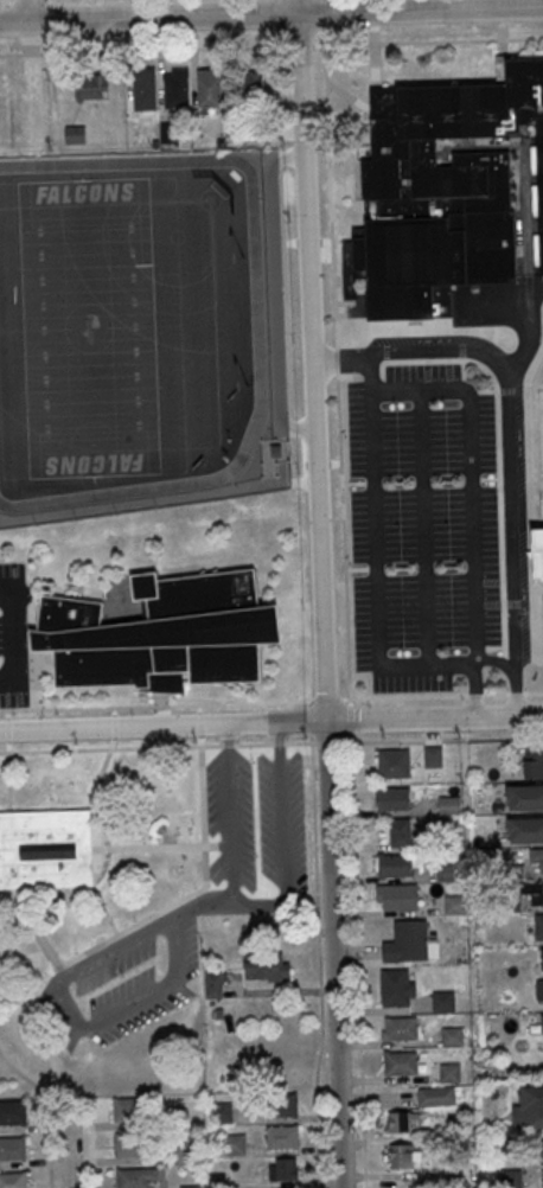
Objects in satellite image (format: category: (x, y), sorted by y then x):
road: (322, 8)
road: (6, 13)
road: (26, 13)
road: (50, 13)
road: (270, 18)
road: (51, 38)
road: (421, 39)
road: (7, 40)
road: (287, 43)
road: (138, 47)
building: (253, 84)
building: (91, 87)
building: (175, 87)
building: (209, 89)
building: (143, 92)
building: (74, 134)
building: (441, 191)
road: (283, 257)
road: (333, 263)
track: (256, 289)
road: (274, 294)
park: (89, 327)
park: (90, 328)
road: (510, 416)
road: (296, 458)
road: (469, 477)
road: (156, 500)
parking lot: (422, 525)
road: (422, 525)
road: (344, 536)
building: (537, 551)
road: (373, 574)
road: (319, 594)
building: (162, 634)
road: (12, 638)
parking lot: (12, 639)
road: (475, 688)
road: (515, 690)
road: (271, 701)
road: (158, 702)
road: (270, 723)
road: (115, 728)
road: (7, 730)
road: (175, 747)
building: (433, 755)
building: (392, 762)
building: (534, 762)
road: (100, 779)
road: (8, 781)
building: (525, 797)
building: (392, 798)
building: (449, 804)
road: (230, 807)
road: (282, 809)
parking lot: (255, 822)
building: (525, 830)
building: (398, 832)
road: (162, 847)
building: (46, 849)
building: (536, 857)
building: (397, 864)
road: (353, 869)
road: (204, 879)
building: (536, 893)
building: (396, 896)
road: (202, 902)
building: (455, 905)
road: (258, 906)
road: (9, 907)
road: (107, 915)
building: (538, 926)
road: (40, 938)
building: (407, 941)
road: (319, 956)
building: (266, 966)
building: (539, 978)
parking lot: (124, 982)
building: (213, 984)
building: (397, 986)
building: (443, 1003)
road: (77, 1023)
building: (542, 1023)
building: (400, 1028)
building: (452, 1036)
building: (403, 1062)
road: (25, 1072)
building: (451, 1073)
building: (436, 1096)
building: (281, 1104)
building: (129, 1107)
building: (529, 1107)
building: (13, 1112)
building: (222, 1112)
building: (175, 1118)
building: (397, 1120)
building: (282, 1136)
road: (50, 1143)
road: (91, 1143)
road: (70, 1144)
building: (130, 1144)
building: (12, 1147)
building: (234, 1147)
building: (542, 1151)
building: (175, 1154)
building: (400, 1156)
building: (282, 1168)
building: (132, 1177)
building: (512, 1177)
building: (453, 1179)
building: (13, 1180)
building: (190, 1187)

